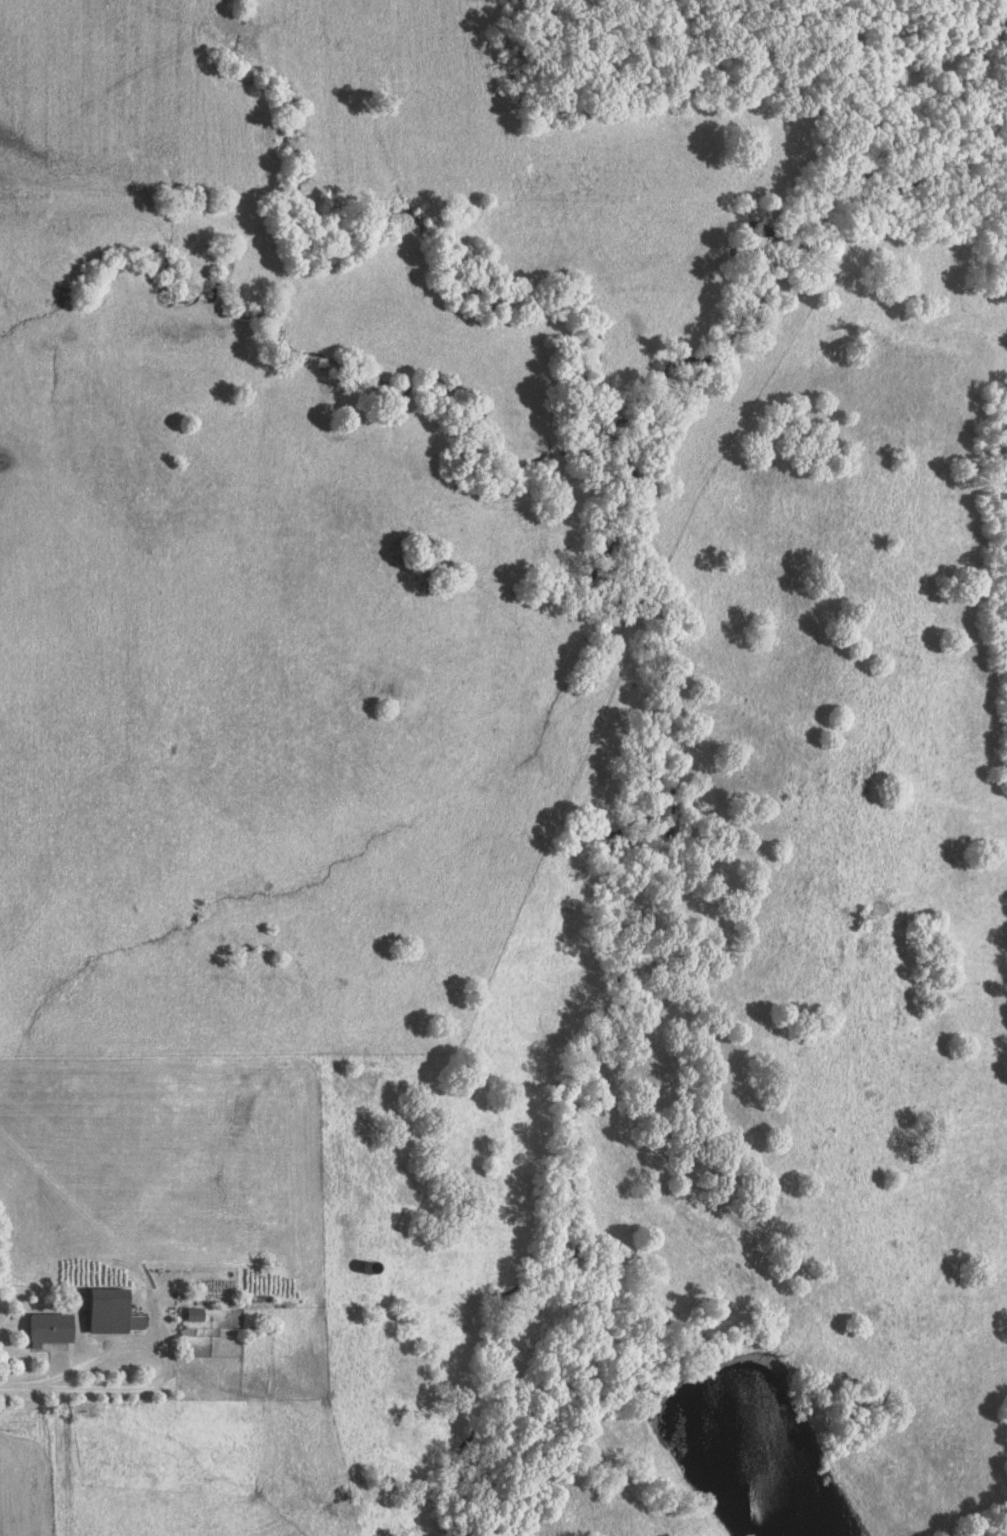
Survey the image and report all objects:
building: (109, 1313)
building: (47, 1332)

